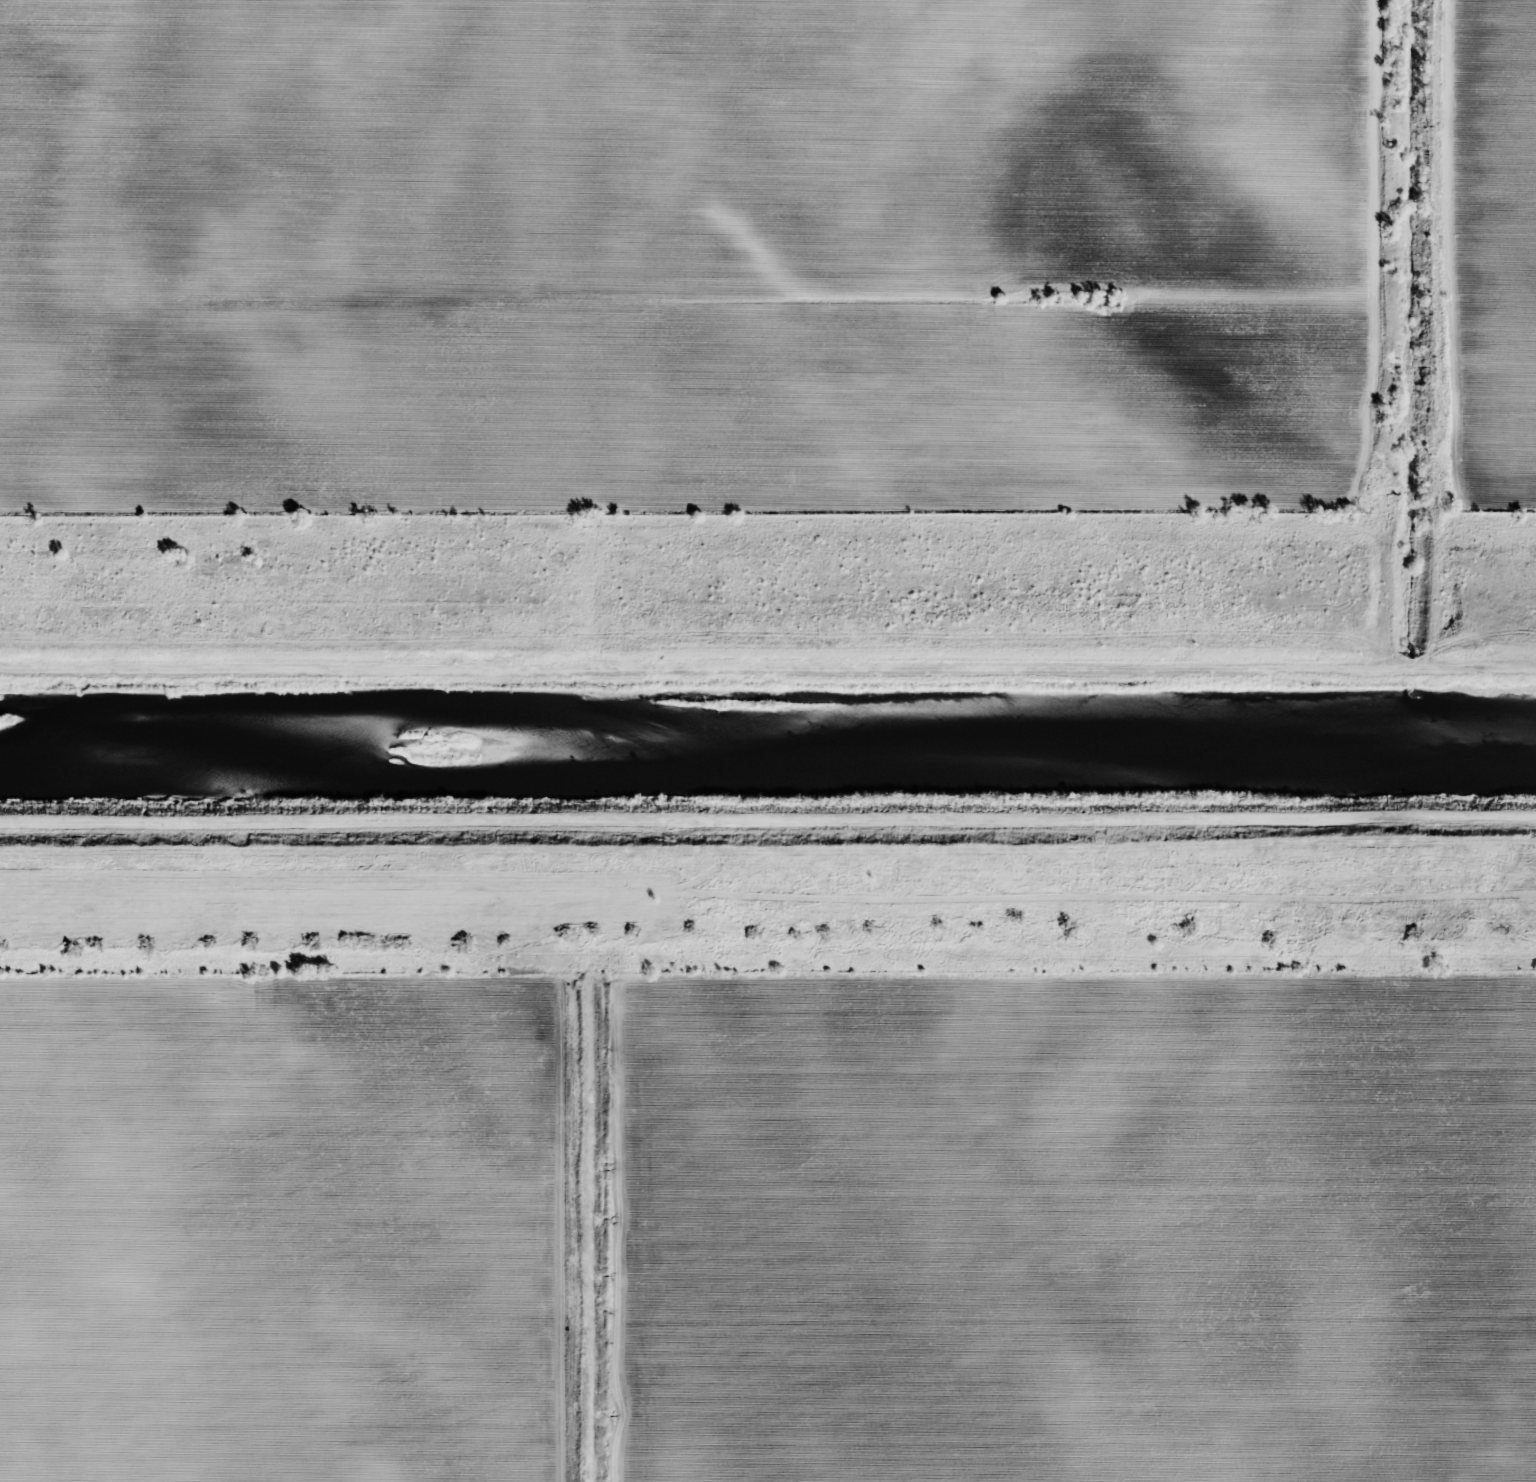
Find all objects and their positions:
road: (955, 33)
road: (768, 1215)

